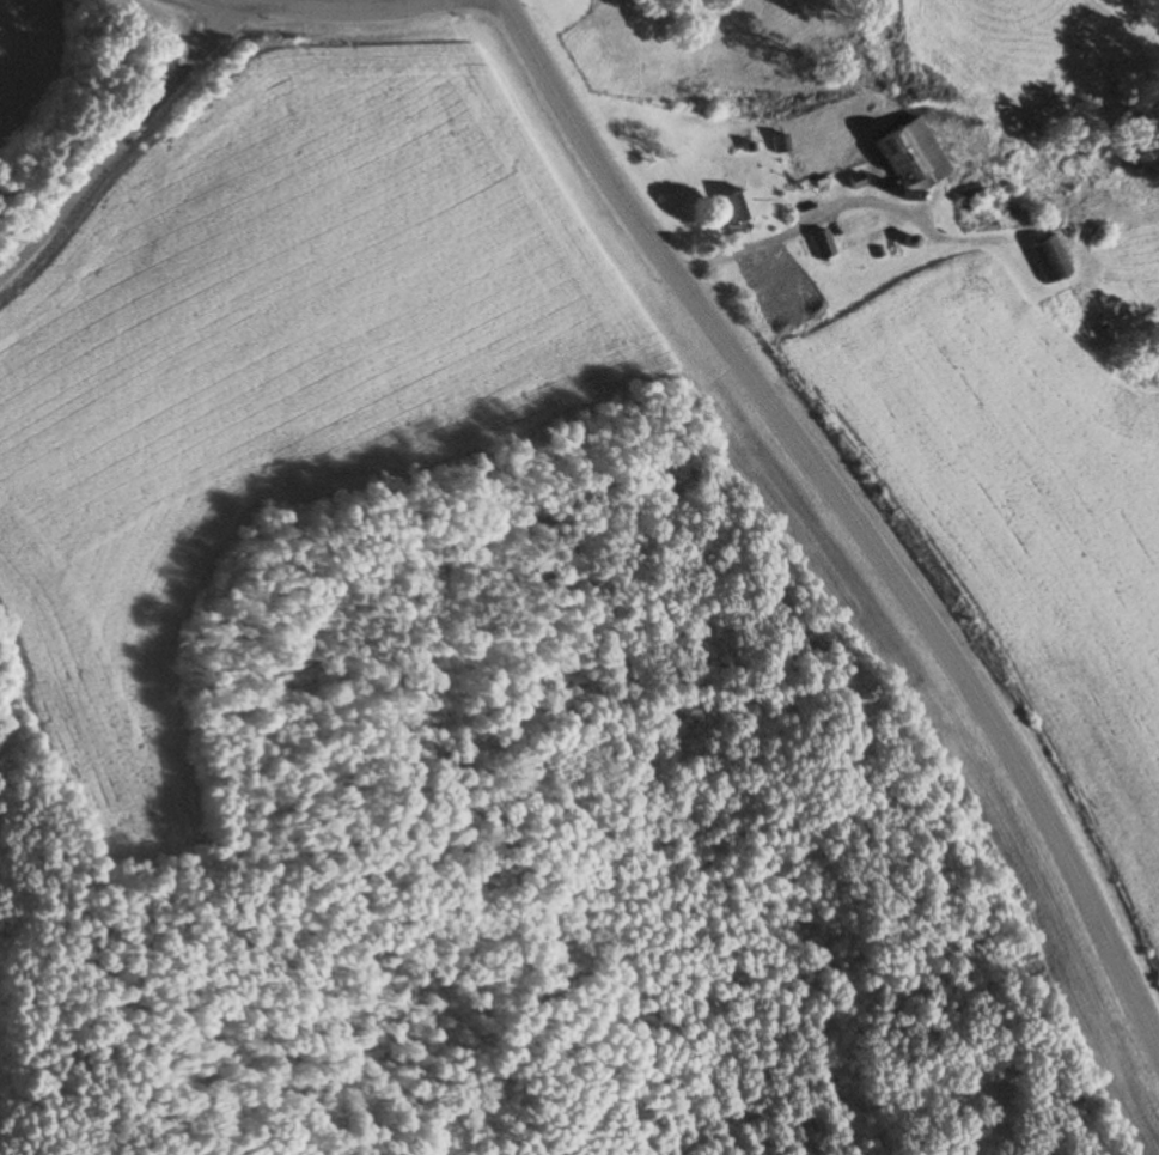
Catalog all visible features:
road: (325, 8)
road: (117, 142)
building: (907, 157)
building: (737, 206)
building: (821, 244)
building: (1047, 260)
road: (849, 511)

